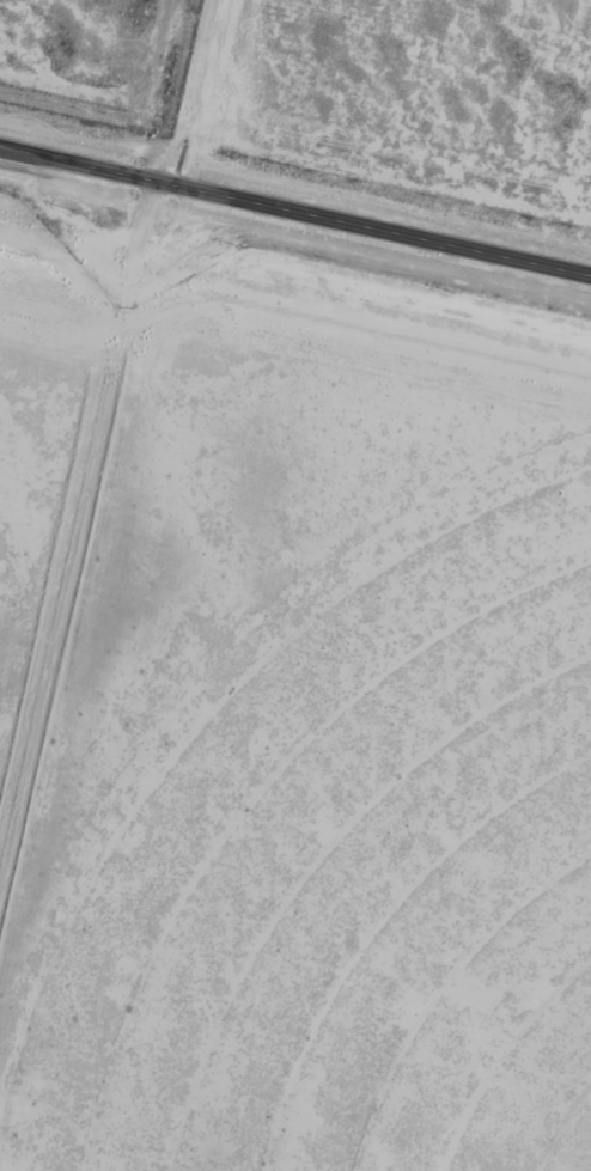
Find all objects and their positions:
road: (294, 213)
road: (106, 496)

